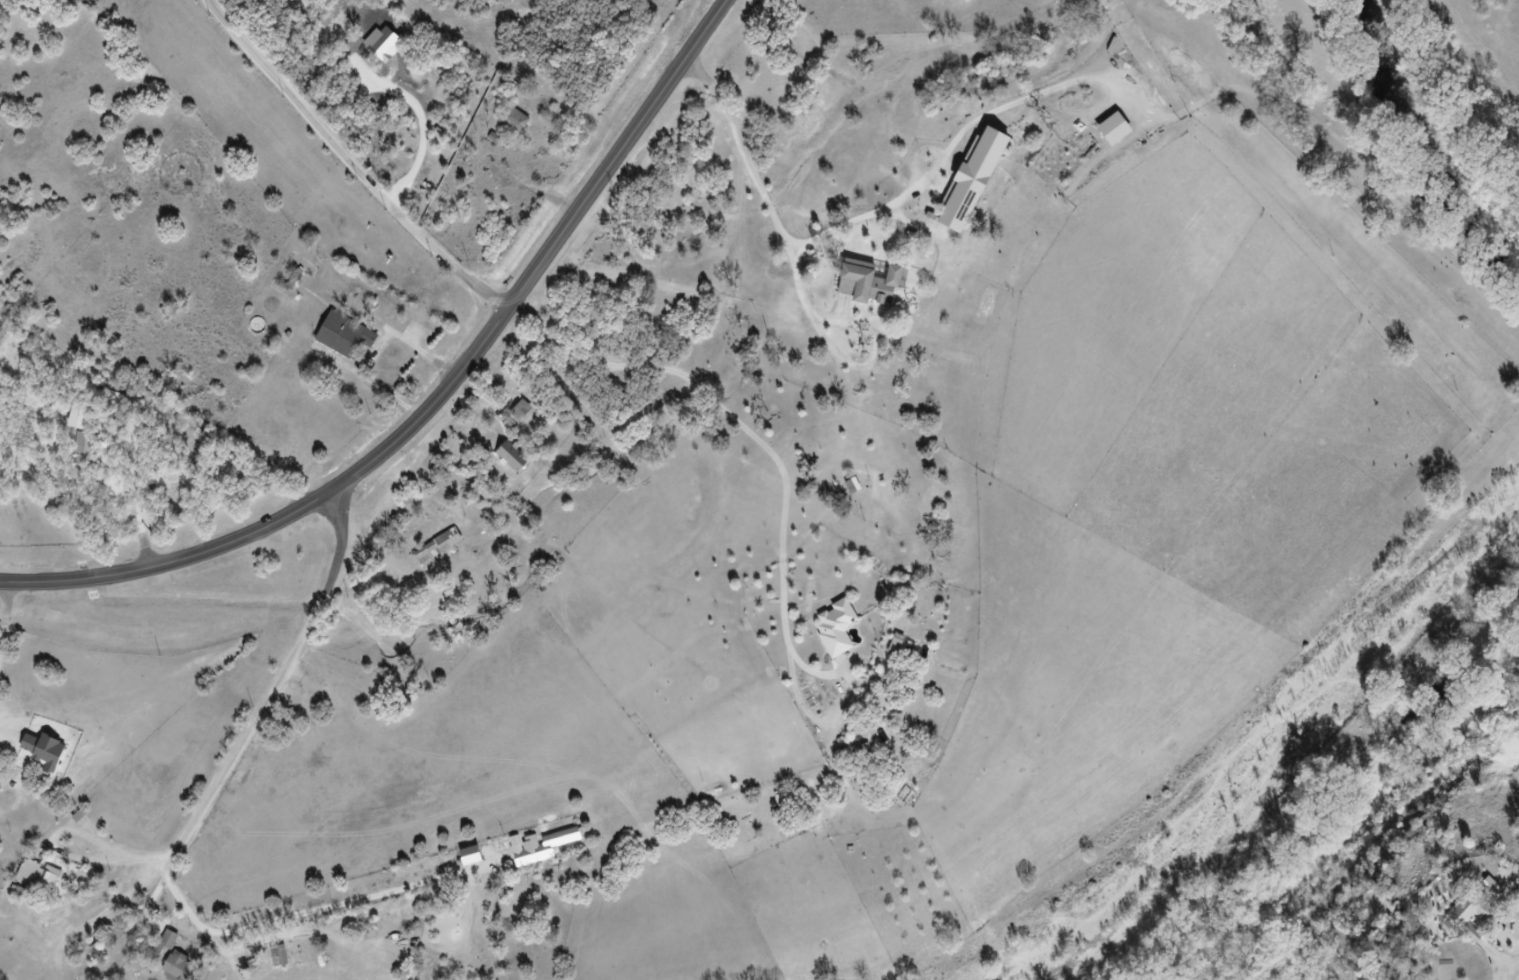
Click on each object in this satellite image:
river: (1437, 117)
building: (508, 126)
building: (1116, 126)
road: (350, 162)
building: (975, 174)
building: (491, 182)
building: (875, 277)
building: (336, 340)
road: (434, 393)
building: (506, 462)
building: (433, 549)
road: (7, 615)
building: (828, 633)
road: (0, 647)
road: (0, 650)
river: (1316, 748)
road: (1375, 839)
road: (185, 849)
building: (532, 850)
building: (462, 861)
building: (29, 881)
building: (1457, 917)
building: (271, 961)
building: (171, 969)
road: (1516, 977)

